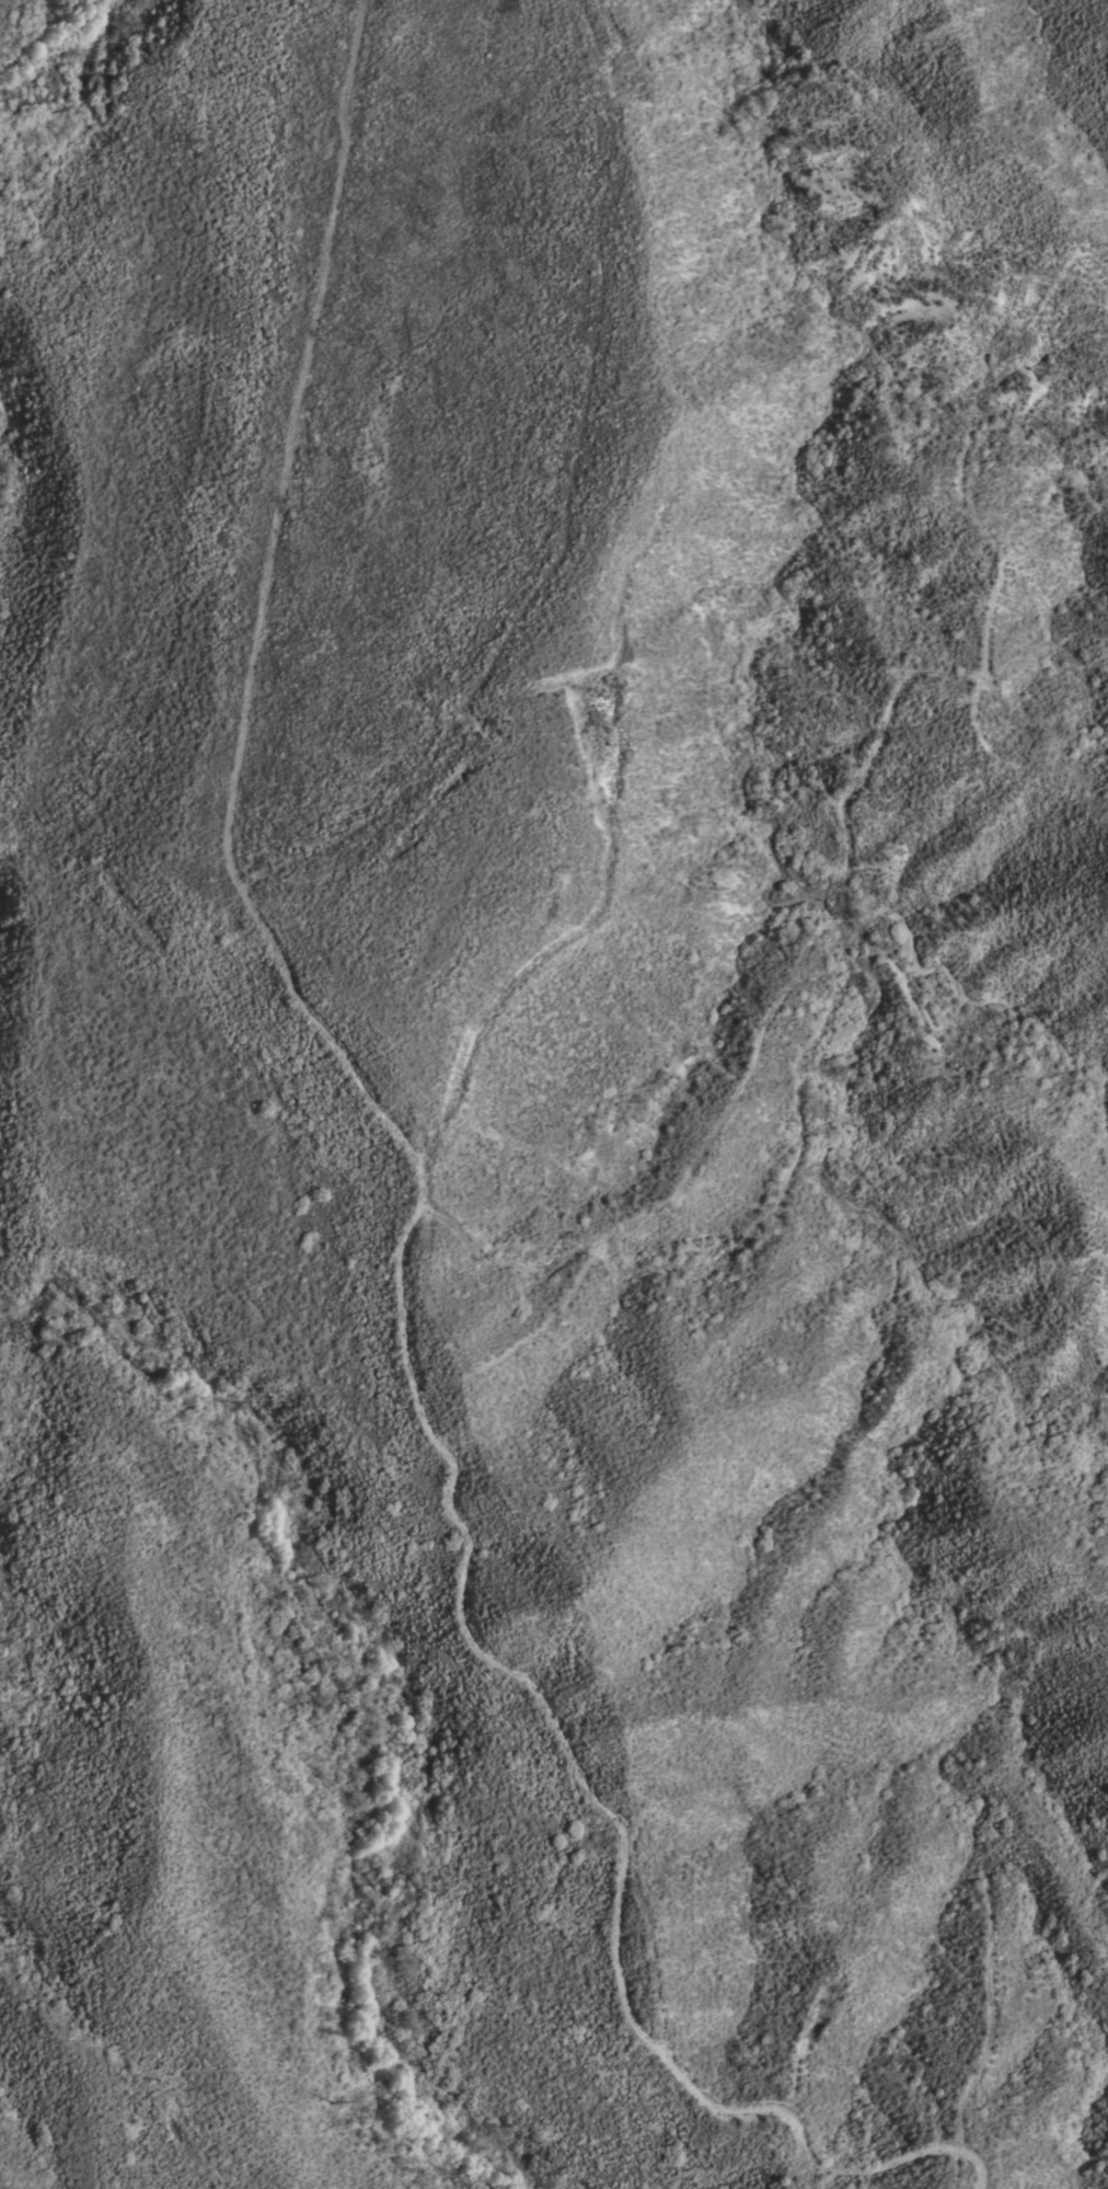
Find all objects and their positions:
road: (790, 2125)

